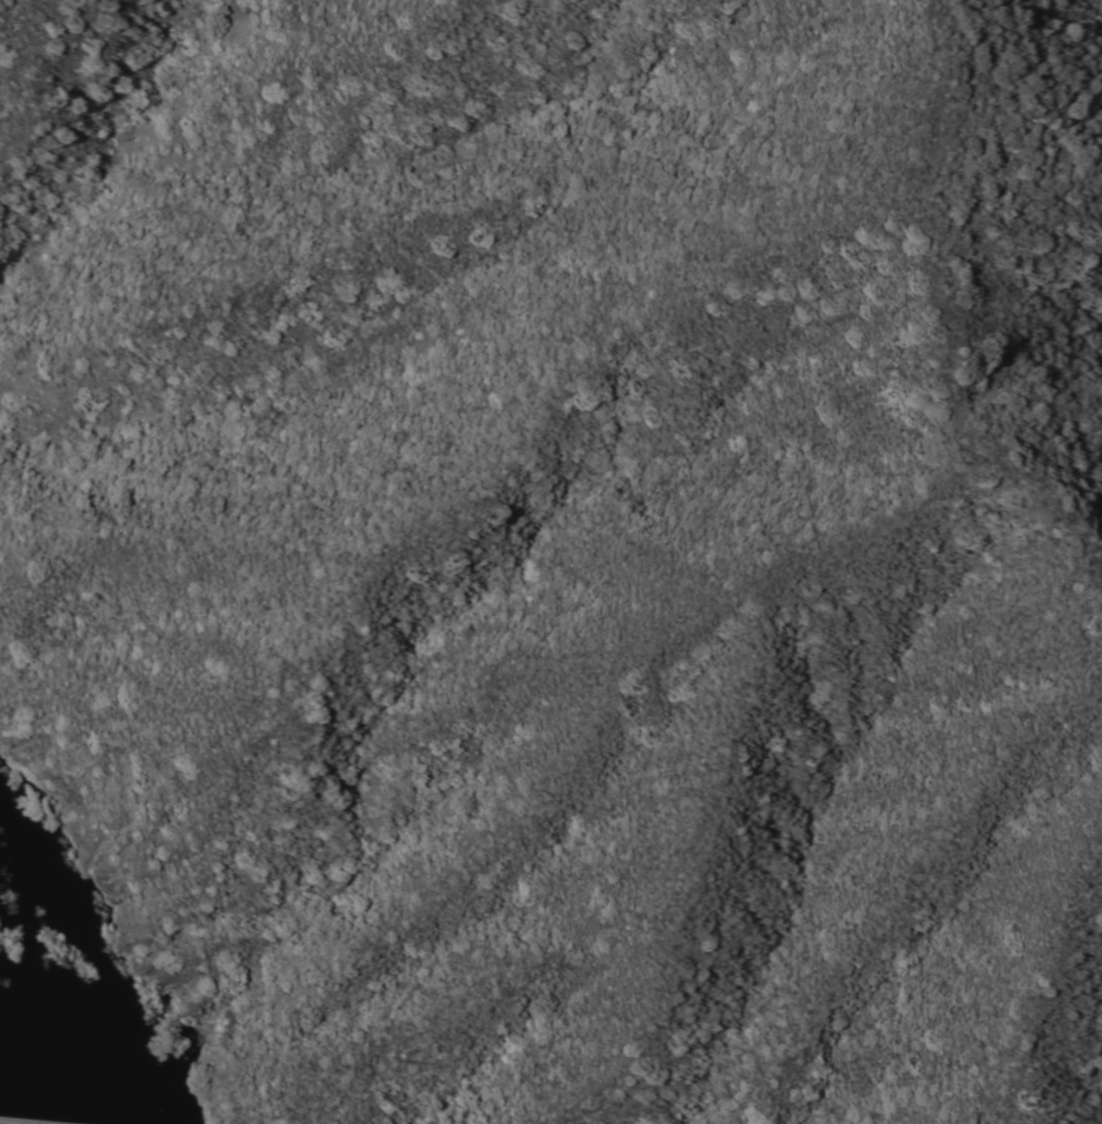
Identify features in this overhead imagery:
river: (117, 1010)

